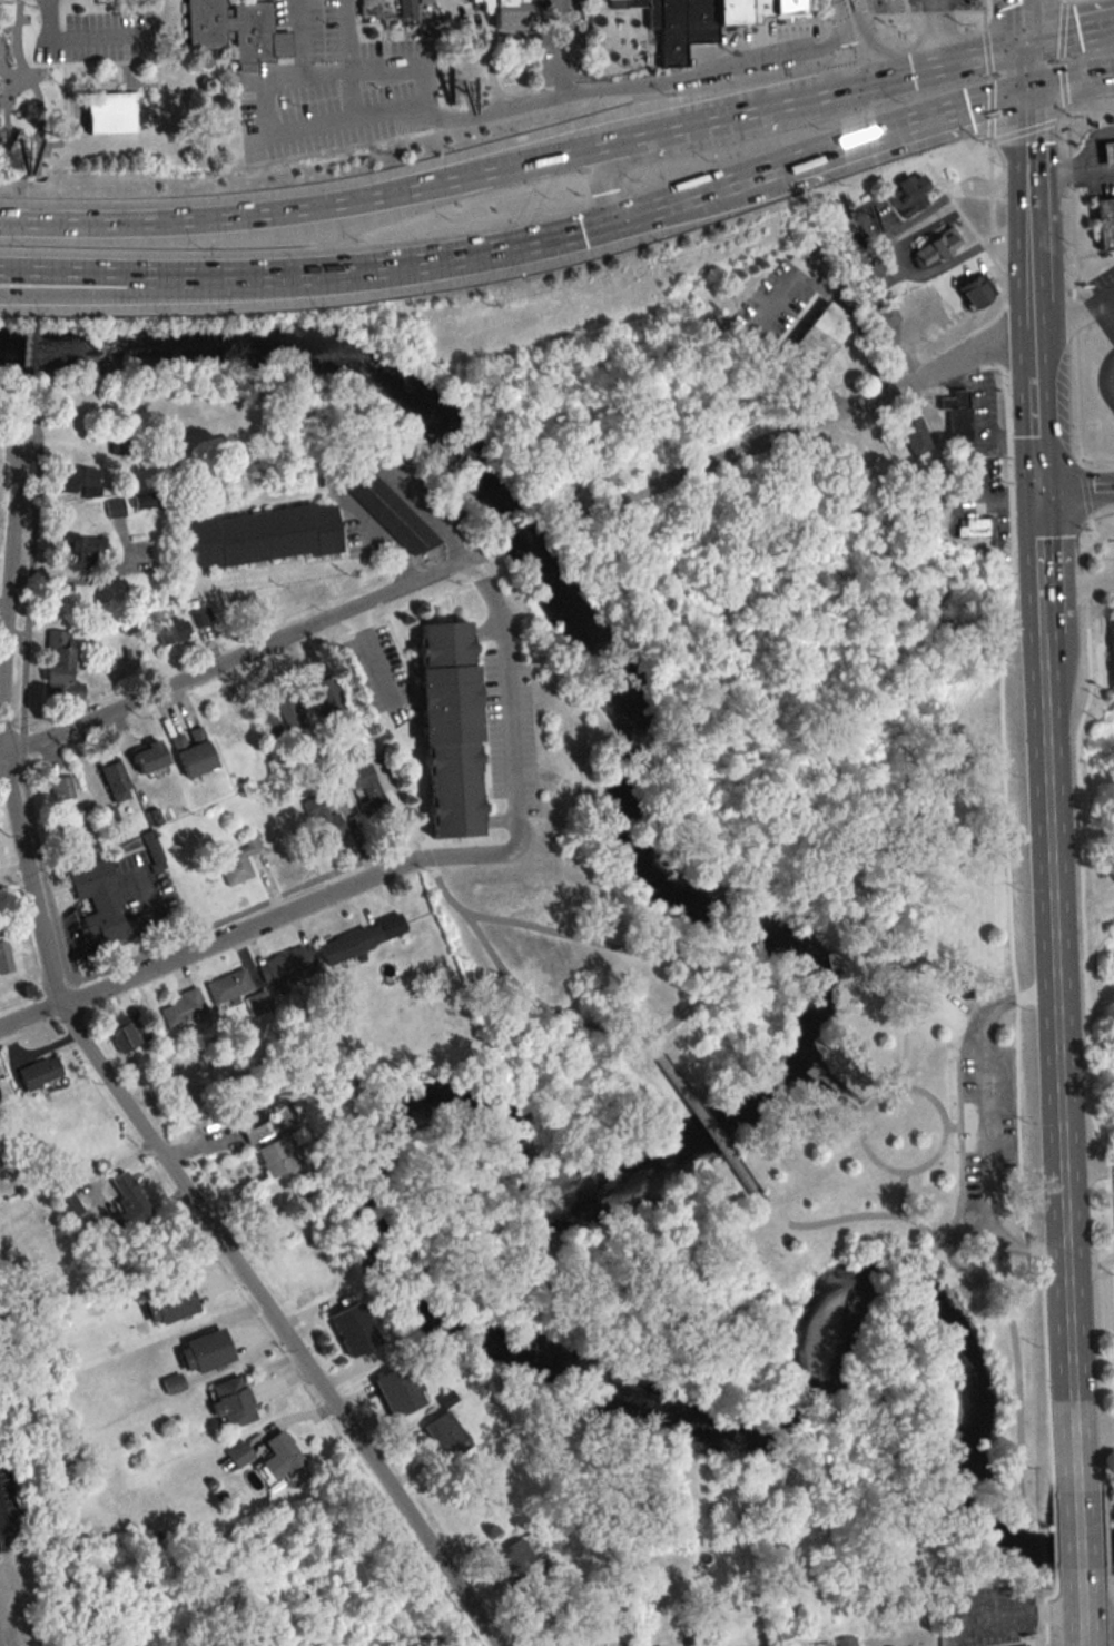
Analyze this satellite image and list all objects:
road: (1062, 0)
building: (624, 2)
road: (1009, 3)
road: (939, 4)
building: (787, 6)
road: (869, 7)
building: (757, 8)
building: (393, 10)
building: (729, 10)
road: (970, 10)
road: (935, 11)
building: (650, 12)
building: (510, 13)
road: (893, 13)
road: (983, 13)
road: (58, 18)
road: (7, 20)
road: (1025, 21)
building: (682, 27)
road: (1061, 28)
road: (938, 30)
building: (231, 31)
traffic signals: (1080, 32)
road: (346, 33)
road: (1068, 33)
road: (76, 37)
parking lot: (98, 37)
road: (299, 38)
road: (856, 40)
traffic signals: (857, 41)
road: (559, 48)
road: (986, 50)
road: (967, 57)
road: (1059, 59)
road: (87, 61)
road: (221, 63)
road: (1025, 66)
traffic signals: (910, 71)
road: (16, 73)
road: (124, 75)
road: (989, 76)
road: (1068, 79)
road: (9, 80)
road: (1063, 82)
road: (140, 83)
road: (642, 83)
road: (856, 83)
park: (30, 86)
road: (30, 87)
road: (160, 88)
road: (426, 89)
road: (349, 91)
road: (62, 97)
road: (69, 98)
road: (264, 105)
traffic signals: (967, 105)
road: (989, 109)
building: (108, 110)
road: (3, 114)
road: (712, 116)
road: (1084, 117)
road: (71, 128)
road: (1022, 130)
road: (58, 132)
road: (1026, 134)
road: (18, 142)
road: (844, 142)
traffic signals: (1027, 142)
building: (1104, 152)
road: (1087, 156)
road: (514, 162)
road: (1057, 171)
road: (601, 177)
traffic signals: (603, 190)
building: (904, 195)
road: (934, 203)
road: (1028, 208)
road: (643, 210)
road: (205, 218)
building: (1100, 223)
traffic signals: (578, 230)
road: (570, 231)
road: (990, 231)
building: (939, 248)
road: (903, 259)
road: (1029, 265)
road: (61, 273)
road: (321, 273)
building: (936, 279)
road: (61, 280)
road: (1073, 283)
road: (795, 285)
building: (979, 293)
road: (1107, 298)
road: (1031, 311)
road: (1107, 312)
road: (1067, 321)
road: (999, 327)
building: (824, 336)
road: (26, 361)
road: (1110, 382)
road: (1033, 411)
building: (959, 414)
road: (808, 426)
building: (917, 434)
road: (1097, 459)
road: (359, 465)
building: (77, 480)
road: (1084, 487)
road: (1075, 490)
traffic signals: (1037, 492)
building: (116, 506)
building: (392, 514)
road: (1092, 525)
building: (977, 528)
building: (266, 535)
building: (81, 551)
road: (1039, 566)
road: (1077, 583)
building: (174, 630)
building: (1110, 652)
road: (235, 656)
building: (62, 668)
building: (331, 694)
road: (1044, 696)
road: (509, 703)
building: (289, 713)
road: (11, 721)
building: (270, 725)
building: (454, 732)
building: (195, 752)
building: (152, 757)
building: (117, 782)
building: (61, 789)
building: (371, 795)
road: (1080, 818)
building: (324, 820)
building: (239, 861)
building: (103, 904)
road: (248, 930)
building: (353, 943)
road: (639, 952)
road: (132, 956)
pier: (838, 957)
building: (6, 959)
building: (289, 965)
road: (903, 984)
building: (230, 985)
building: (259, 1003)
building: (184, 1008)
building: (121, 1032)
building: (41, 1073)
road: (111, 1088)
pier: (837, 1090)
parking lot: (984, 1115)
park: (921, 1122)
road: (980, 1125)
building: (260, 1127)
road: (707, 1127)
road: (953, 1128)
road: (1057, 1131)
building: (277, 1159)
road: (934, 1159)
road: (960, 1164)
road: (1086, 1166)
river: (628, 1185)
road: (900, 1194)
building: (130, 1203)
building: (69, 1205)
road: (1088, 1262)
building: (170, 1304)
road: (1005, 1307)
building: (355, 1330)
building: (206, 1353)
building: (401, 1391)
building: (235, 1402)
road: (1091, 1431)
building: (447, 1436)
building: (240, 1455)
building: (282, 1457)
road: (0, 1516)
road: (1073, 1551)
building: (523, 1563)
road: (1002, 1613)
road: (1076, 1617)
building: (846, 1642)
building: (1026, 1645)

